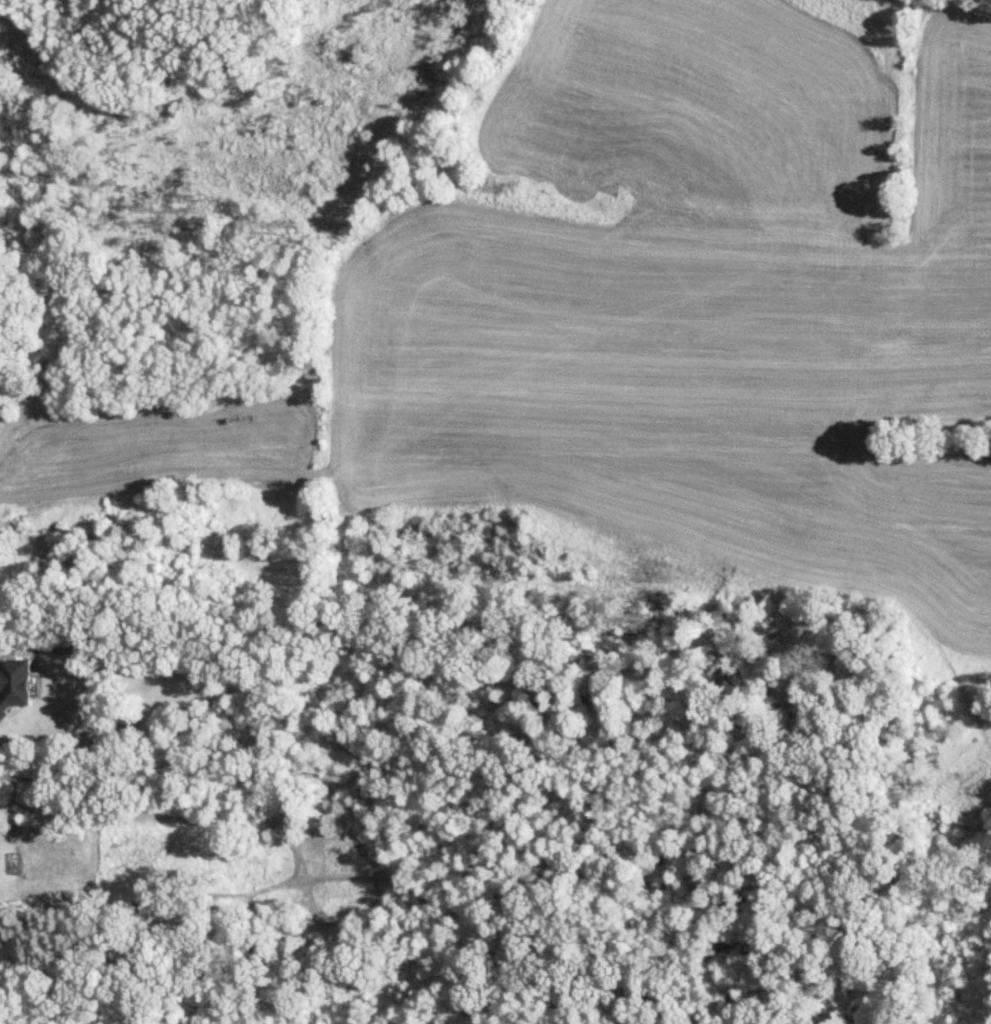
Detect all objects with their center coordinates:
building: (14, 685)

